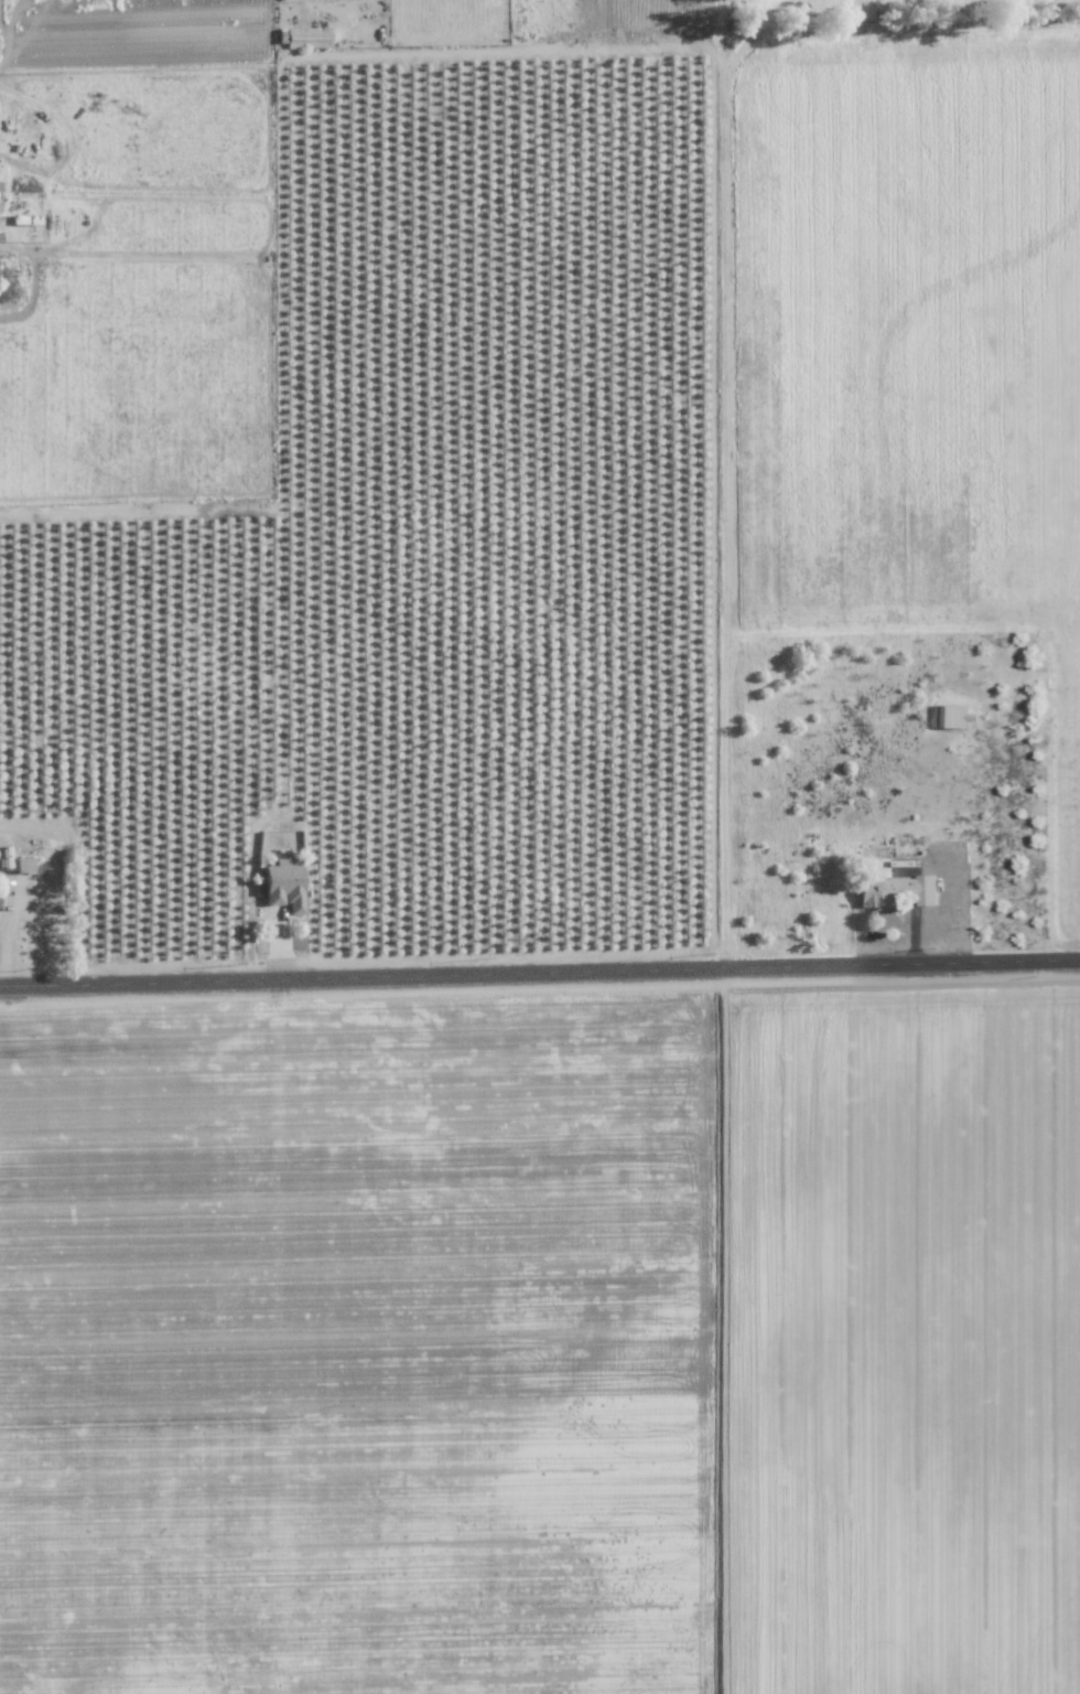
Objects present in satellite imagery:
building: (307, 36)
building: (953, 715)
building: (283, 886)
building: (898, 889)
road: (540, 977)

